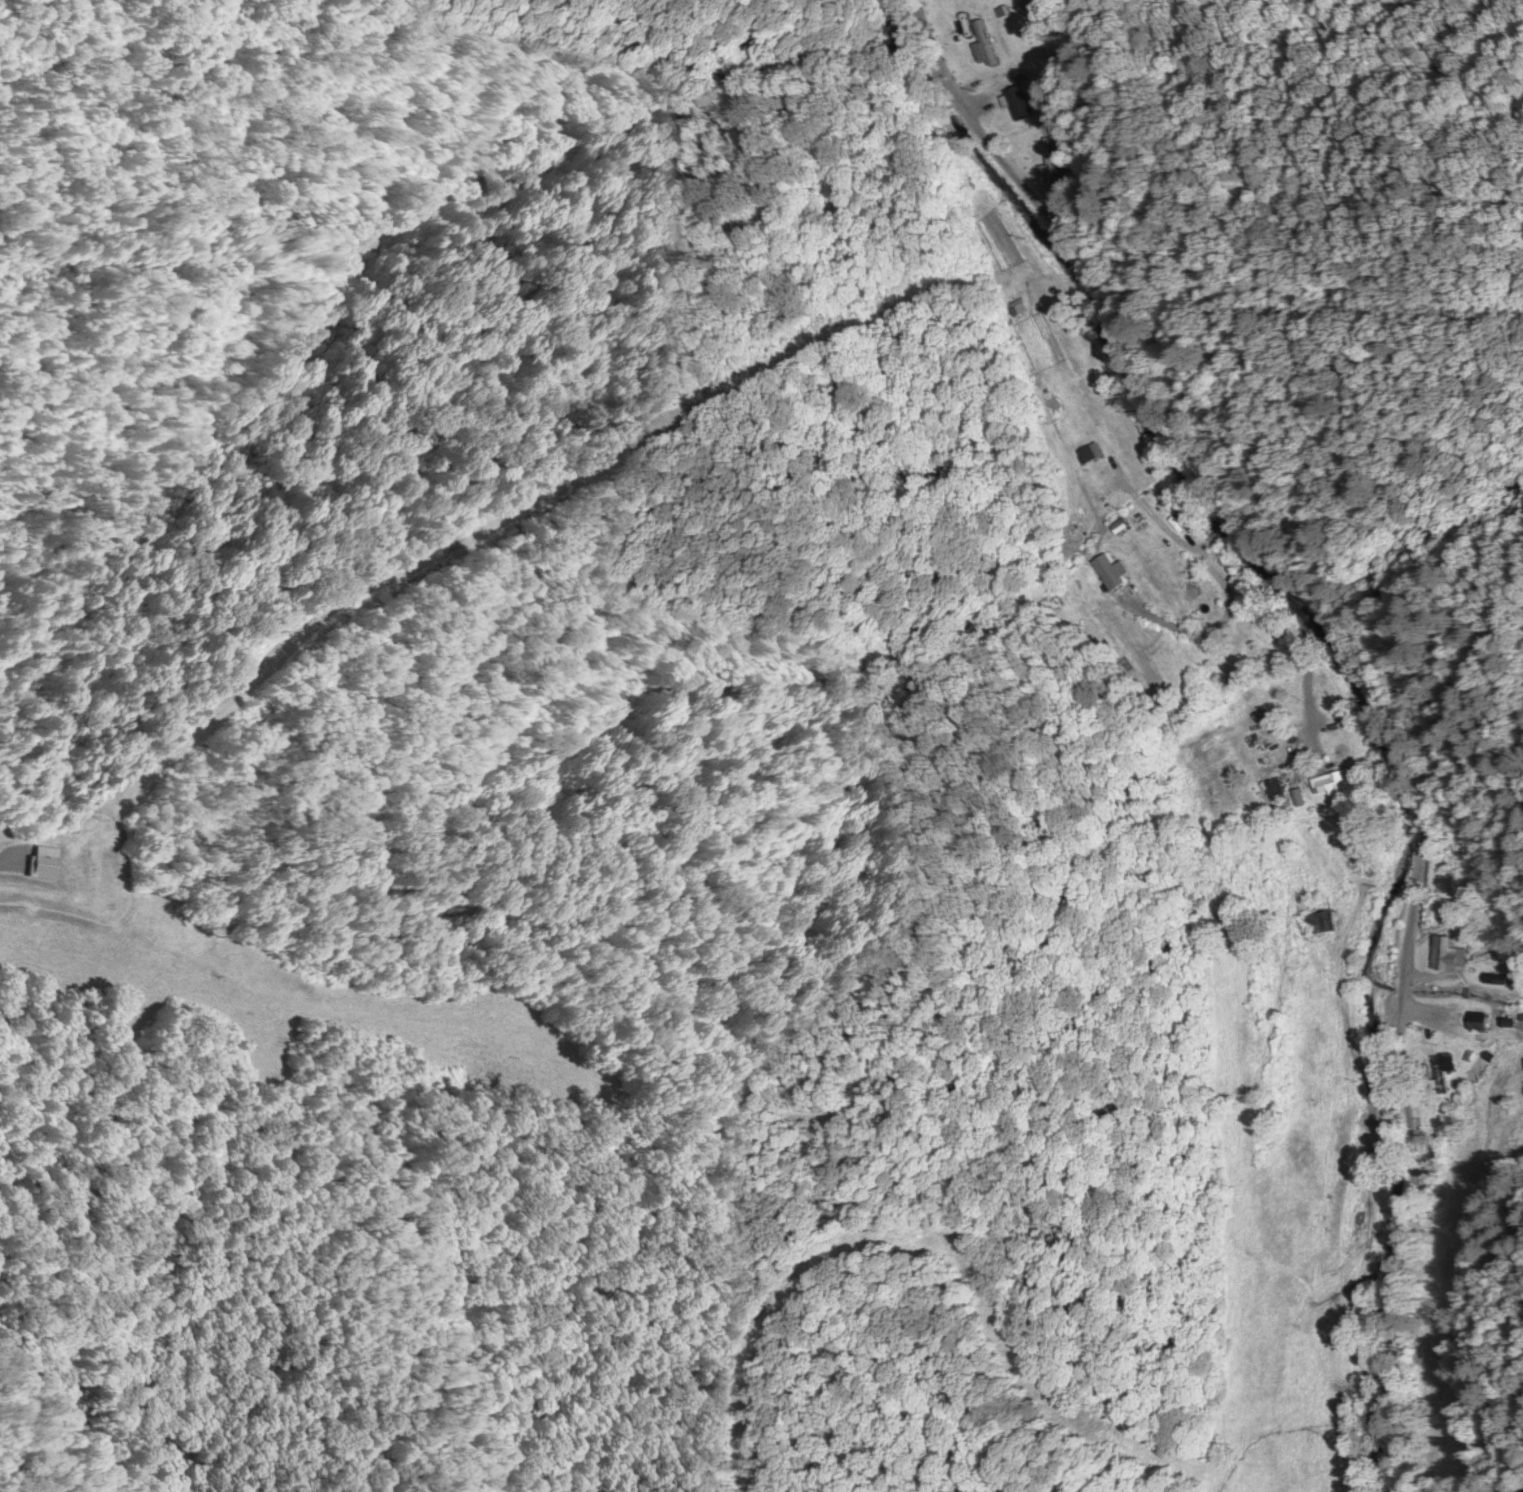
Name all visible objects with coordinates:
building: (981, 41)
building: (1016, 99)
building: (1052, 156)
building: (1026, 326)
building: (1096, 473)
building: (1107, 568)
road: (1284, 696)
building: (1259, 746)
building: (1334, 781)
building: (50, 861)
building: (1316, 920)
building: (1446, 953)
building: (1474, 1019)
building: (1441, 1068)

